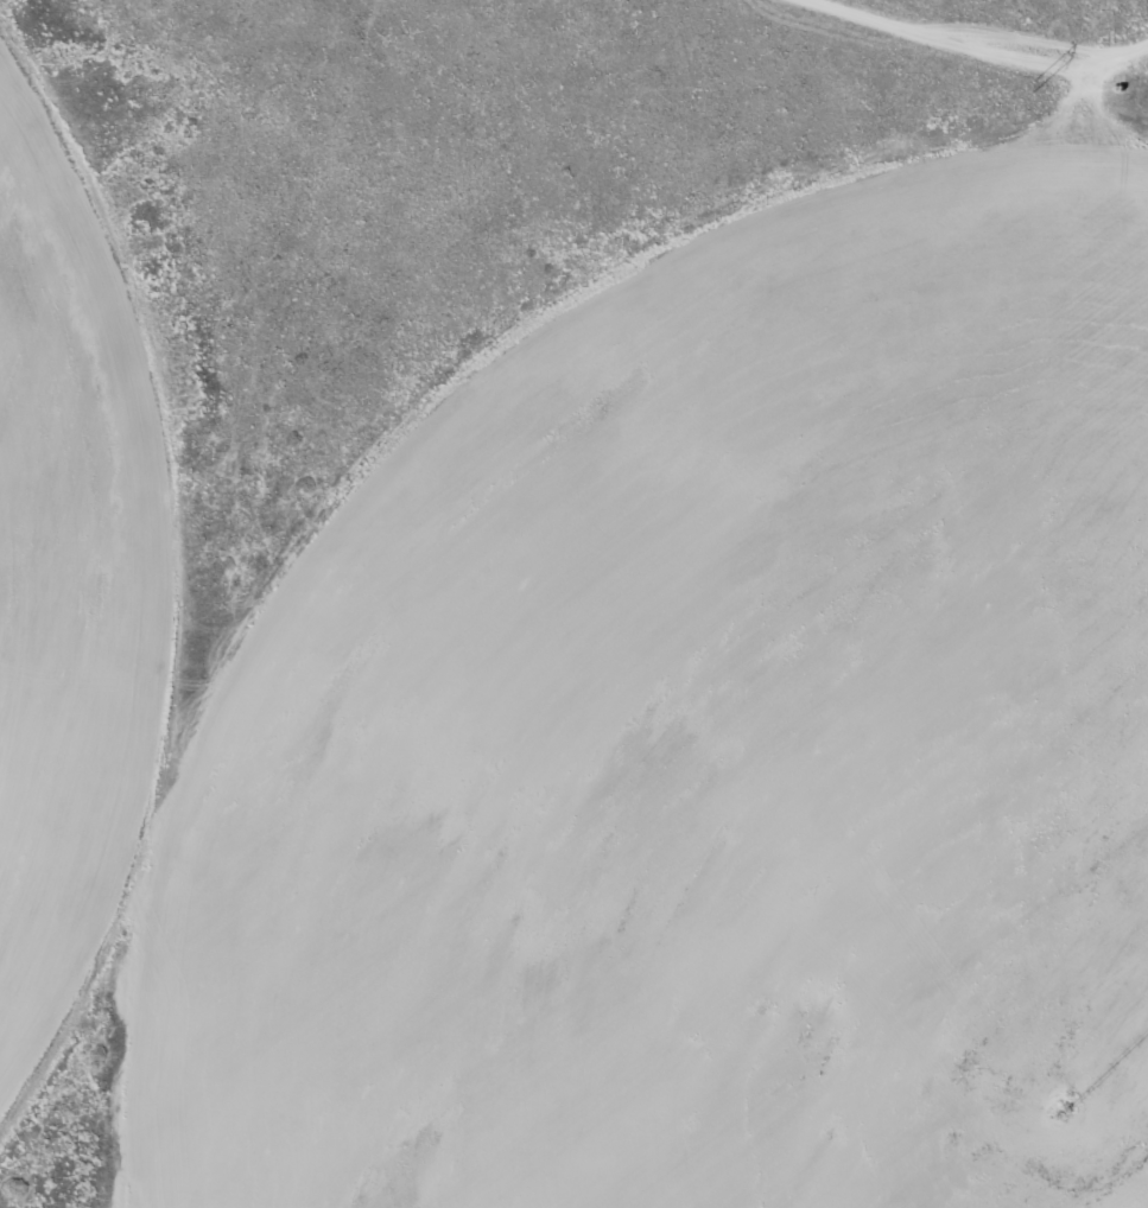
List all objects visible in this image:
road: (989, 45)
power tower: (1033, 88)

